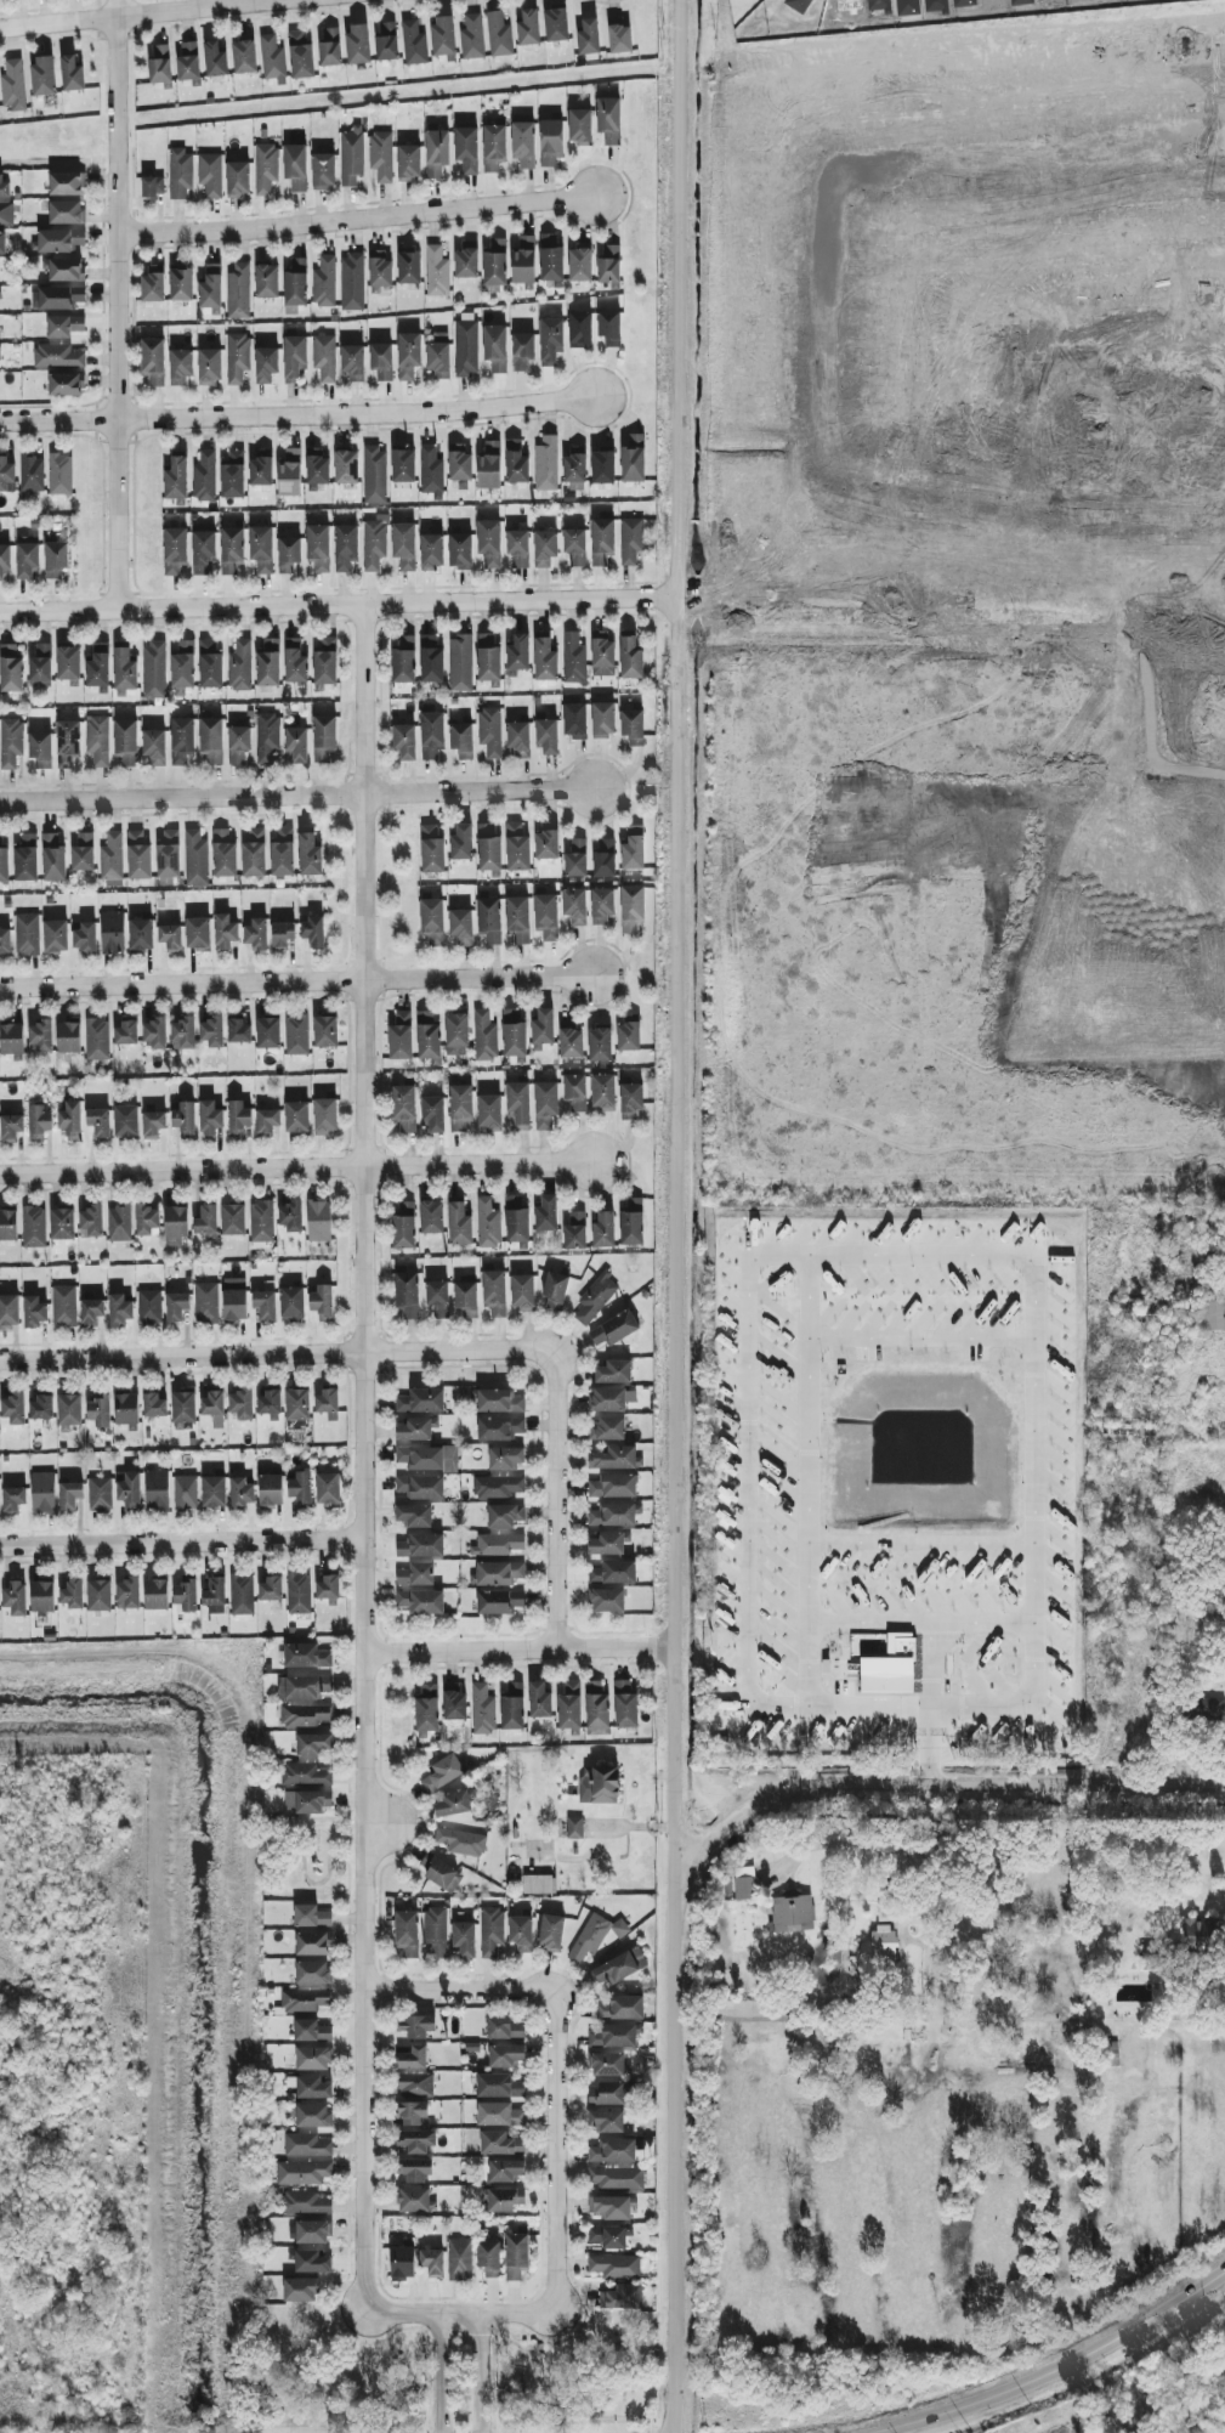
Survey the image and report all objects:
road: (146, 13)
building: (555, 23)
building: (527, 27)
building: (497, 34)
building: (617, 34)
building: (586, 35)
building: (442, 36)
building: (470, 36)
building: (385, 40)
building: (356, 43)
building: (413, 43)
building: (328, 46)
building: (299, 55)
building: (242, 56)
building: (214, 58)
building: (271, 58)
building: (187, 61)
building: (158, 64)
building: (70, 73)
building: (41, 75)
building: (11, 85)
building: (607, 119)
building: (578, 125)
building: (549, 142)
building: (522, 143)
building: (492, 146)
building: (465, 148)
building: (435, 152)
building: (350, 154)
building: (380, 155)
building: (407, 160)
building: (294, 165)
building: (263, 166)
building: (322, 170)
building: (178, 172)
building: (209, 174)
building: (237, 179)
building: (66, 182)
building: (4, 187)
building: (151, 187)
building: (64, 211)
building: (5, 213)
road: (358, 217)
building: (58, 238)
building: (1, 242)
building: (550, 255)
building: (523, 260)
building: (494, 261)
building: (465, 262)
building: (578, 264)
building: (608, 264)
building: (408, 265)
building: (63, 268)
building: (436, 271)
building: (379, 272)
building: (265, 281)
building: (294, 281)
building: (323, 281)
building: (351, 281)
building: (152, 283)
building: (180, 283)
building: (210, 287)
building: (237, 290)
building: (56, 296)
road: (680, 298)
road: (118, 304)
road: (830, 317)
building: (63, 324)
building: (608, 327)
building: (578, 328)
building: (549, 339)
building: (465, 343)
building: (494, 347)
building: (521, 350)
building: (407, 353)
building: (56, 355)
building: (437, 355)
road: (1062, 355)
building: (236, 356)
building: (293, 356)
building: (323, 356)
building: (152, 360)
building: (380, 360)
building: (351, 362)
building: (265, 363)
building: (209, 364)
building: (180, 366)
building: (64, 384)
road: (297, 413)
building: (631, 458)
building: (458, 460)
building: (515, 463)
building: (545, 463)
building: (402, 464)
building: (488, 464)
building: (573, 464)
building: (345, 465)
building: (601, 466)
building: (260, 468)
building: (316, 469)
building: (430, 470)
building: (30, 473)
building: (58, 473)
building: (231, 473)
building: (289, 473)
building: (6, 474)
building: (373, 474)
building: (203, 476)
building: (175, 477)
building: (601, 539)
building: (630, 539)
building: (373, 541)
building: (488, 541)
building: (402, 544)
building: (573, 544)
building: (317, 547)
building: (345, 547)
building: (517, 547)
building: (231, 548)
building: (260, 548)
building: (543, 548)
building: (174, 549)
building: (430, 550)
building: (459, 550)
building: (202, 551)
building: (287, 553)
building: (4, 558)
building: (25, 558)
building: (55, 558)
road: (339, 602)
road: (951, 612)
building: (517, 652)
building: (601, 653)
building: (488, 656)
building: (572, 657)
building: (629, 657)
building: (402, 658)
building: (430, 658)
building: (544, 658)
building: (324, 660)
building: (294, 661)
building: (67, 662)
building: (209, 662)
building: (267, 662)
building: (459, 662)
building: (39, 663)
building: (182, 664)
building: (238, 664)
building: (97, 667)
building: (10, 668)
building: (123, 669)
building: (153, 669)
building: (573, 719)
building: (602, 719)
building: (631, 725)
building: (488, 731)
building: (430, 734)
building: (545, 735)
building: (266, 736)
building: (517, 737)
building: (96, 739)
building: (210, 739)
building: (323, 739)
building: (460, 739)
building: (180, 740)
building: (10, 741)
building: (124, 741)
building: (403, 741)
building: (66, 742)
building: (237, 742)
building: (295, 743)
building: (153, 746)
building: (39, 747)
road: (299, 794)
building: (460, 842)
building: (545, 843)
building: (488, 845)
building: (431, 847)
building: (516, 847)
building: (633, 848)
building: (280, 850)
building: (81, 851)
building: (222, 853)
building: (253, 853)
building: (308, 854)
building: (137, 855)
building: (2, 856)
building: (110, 856)
building: (166, 856)
building: (603, 856)
building: (24, 858)
building: (52, 858)
building: (194, 858)
building: (575, 858)
building: (601, 904)
building: (573, 905)
building: (630, 907)
building: (544, 916)
building: (517, 917)
building: (488, 918)
building: (431, 920)
building: (460, 926)
building: (312, 930)
building: (112, 932)
building: (197, 932)
building: (223, 932)
building: (255, 933)
building: (280, 933)
building: (25, 934)
building: (140, 934)
building: (170, 935)
building: (53, 937)
building: (84, 937)
building: (4, 943)
road: (297, 980)
building: (541, 1026)
building: (237, 1030)
building: (324, 1030)
building: (210, 1031)
building: (267, 1031)
building: (124, 1032)
building: (153, 1032)
building: (181, 1032)
building: (512, 1032)
building: (295, 1034)
building: (455, 1034)
building: (426, 1035)
building: (483, 1035)
building: (626, 1035)
building: (40, 1036)
building: (399, 1036)
building: (67, 1039)
building: (96, 1039)
building: (11, 1041)
building: (599, 1043)
building: (573, 1091)
building: (602, 1091)
building: (629, 1099)
building: (544, 1103)
building: (517, 1104)
building: (403, 1107)
building: (459, 1108)
building: (488, 1110)
building: (432, 1114)
building: (237, 1115)
building: (324, 1115)
building: (295, 1116)
building: (183, 1118)
building: (209, 1118)
building: (69, 1119)
building: (266, 1119)
building: (125, 1120)
building: (97, 1121)
building: (36, 1122)
building: (152, 1124)
building: (10, 1127)
road: (296, 1166)
building: (289, 1213)
building: (545, 1213)
building: (430, 1216)
building: (232, 1218)
building: (515, 1218)
building: (146, 1220)
building: (260, 1220)
building: (317, 1220)
building: (89, 1221)
building: (205, 1221)
building: (630, 1221)
building: (118, 1222)
building: (61, 1223)
building: (174, 1223)
building: (458, 1223)
building: (7, 1224)
building: (32, 1226)
building: (402, 1226)
building: (573, 1229)
building: (602, 1229)
road: (855, 1250)
building: (554, 1290)
building: (493, 1291)
building: (521, 1291)
building: (406, 1294)
building: (436, 1297)
building: (465, 1297)
building: (595, 1297)
building: (321, 1301)
building: (204, 1302)
building: (233, 1303)
building: (263, 1303)
building: (290, 1303)
building: (62, 1305)
building: (148, 1306)
building: (175, 1306)
building: (119, 1308)
building: (8, 1309)
building: (33, 1309)
building: (90, 1311)
building: (1210, 1314)
building: (614, 1330)
road: (919, 1336)
road: (277, 1354)
building: (613, 1374)
building: (611, 1398)
building: (495, 1399)
building: (420, 1401)
building: (211, 1402)
building: (240, 1403)
building: (268, 1403)
building: (296, 1403)
building: (325, 1403)
building: (153, 1404)
building: (40, 1405)
building: (11, 1408)
building: (68, 1408)
building: (125, 1408)
building: (181, 1408)
building: (97, 1409)
building: (499, 1427)
building: (415, 1428)
building: (606, 1428)
road: (363, 1456)
building: (505, 1456)
building: (426, 1458)
road: (805, 1476)
building: (419, 1486)
building: (497, 1486)
building: (612, 1486)
building: (299, 1487)
building: (327, 1487)
building: (127, 1488)
building: (155, 1489)
building: (270, 1489)
building: (212, 1490)
building: (41, 1492)
building: (183, 1492)
building: (98, 1493)
building: (240, 1493)
building: (68, 1494)
road: (557, 1498)
building: (11, 1499)
building: (611, 1513)
building: (413, 1515)
building: (503, 1515)
road: (671, 1515)
road: (918, 1539)
building: (495, 1543)
building: (607, 1543)
road: (181, 1544)
building: (419, 1545)
building: (498, 1572)
building: (612, 1572)
building: (414, 1573)
building: (270, 1588)
building: (327, 1589)
building: (70, 1592)
building: (126, 1592)
building: (297, 1592)
building: (97, 1594)
building: (154, 1594)
building: (183, 1594)
building: (240, 1594)
building: (212, 1595)
building: (40, 1596)
building: (13, 1597)
building: (424, 1600)
building: (606, 1600)
building: (498, 1601)
road: (918, 1619)
road: (517, 1647)
building: (305, 1656)
road: (930, 1663)
building: (889, 1665)
building: (301, 1687)
building: (538, 1699)
building: (453, 1702)
building: (624, 1703)
building: (511, 1705)
building: (568, 1705)
building: (425, 1707)
building: (595, 1708)
building: (1204, 1708)
building: (481, 1709)
building: (304, 1715)
road: (925, 1743)
building: (312, 1744)
building: (441, 1772)
building: (304, 1773)
road: (935, 1782)
building: (597, 1783)
building: (312, 1801)
building: (452, 1804)
road: (376, 1820)
building: (573, 1827)
building: (460, 1841)
road: (928, 1862)
building: (438, 1871)
building: (743, 1882)
building: (537, 1883)
building: (790, 1913)
building: (883, 1914)
building: (310, 1916)
building: (406, 1929)
building: (489, 1930)
building: (550, 1930)
building: (435, 1931)
building: (520, 1933)
building: (1198, 1933)
building: (589, 1936)
building: (463, 1937)
building: (883, 1942)
building: (310, 1943)
building: (618, 1967)
building: (311, 1971)
road: (460, 1992)
building: (302, 1999)
building: (619, 2007)
building: (414, 2025)
building: (503, 2027)
building: (310, 2030)
building: (612, 2036)
building: (504, 2055)
building: (412, 2056)
building: (312, 2058)
building: (607, 2064)
building: (414, 2083)
building: (308, 2086)
building: (498, 2086)
building: (606, 2093)
building: (410, 2111)
building: (498, 2114)
building: (311, 2115)
building: (603, 2120)
building: (415, 2140)
building: (499, 2143)
building: (305, 2144)
building: (611, 2150)
road: (554, 2154)
building: (413, 2169)
building: (505, 2169)
building: (301, 2172)
building: (616, 2177)
building: (413, 2199)
building: (504, 2199)
building: (306, 2201)
building: (608, 2206)
building: (310, 2231)
building: (608, 2236)
building: (515, 2254)
building: (488, 2257)
building: (458, 2258)
building: (308, 2261)
building: (401, 2262)
building: (431, 2262)
building: (612, 2265)
building: (299, 2288)
building: (619, 2296)
road: (459, 2314)
road: (1066, 2367)
road: (442, 2373)
road: (480, 2373)

